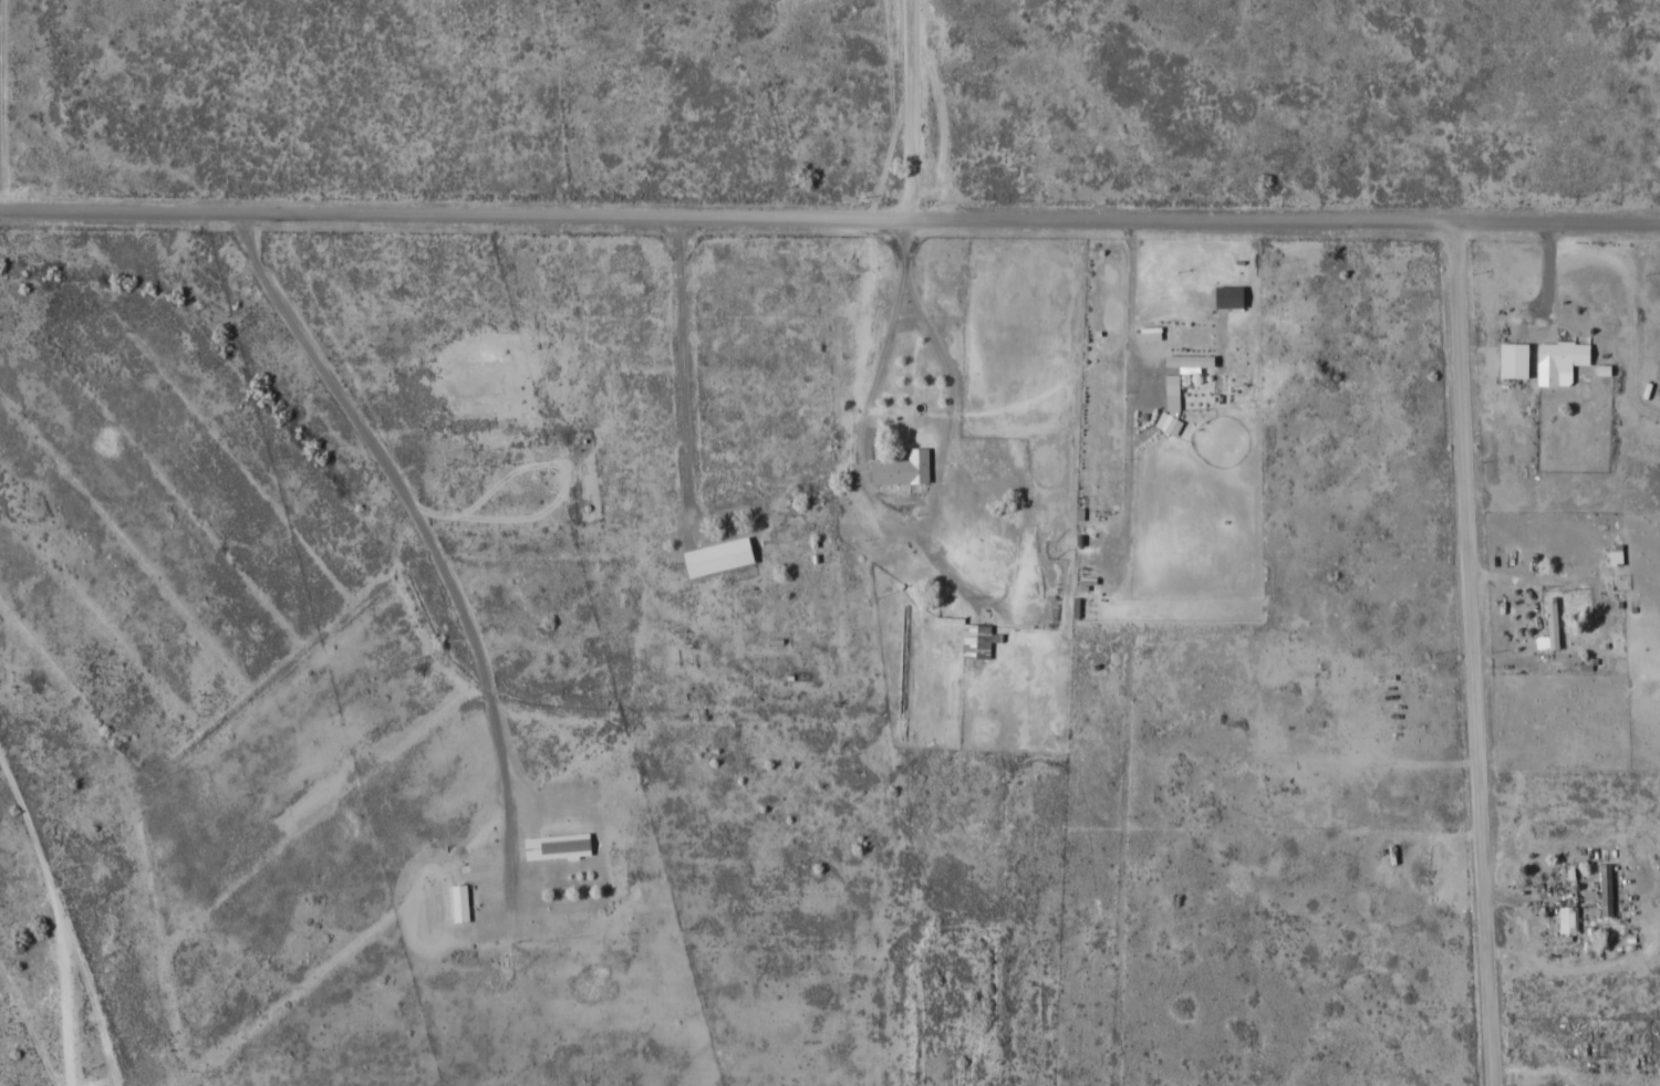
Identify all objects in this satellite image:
road: (912, 108)
road: (829, 216)
building: (1559, 358)
building: (1514, 359)
building: (902, 468)
building: (717, 556)
building: (1552, 623)
building: (977, 640)
road: (1474, 654)
road: (729, 671)
building: (557, 846)
building: (1606, 889)
building: (459, 902)
road: (63, 916)
road: (1557, 917)
building: (1567, 918)

